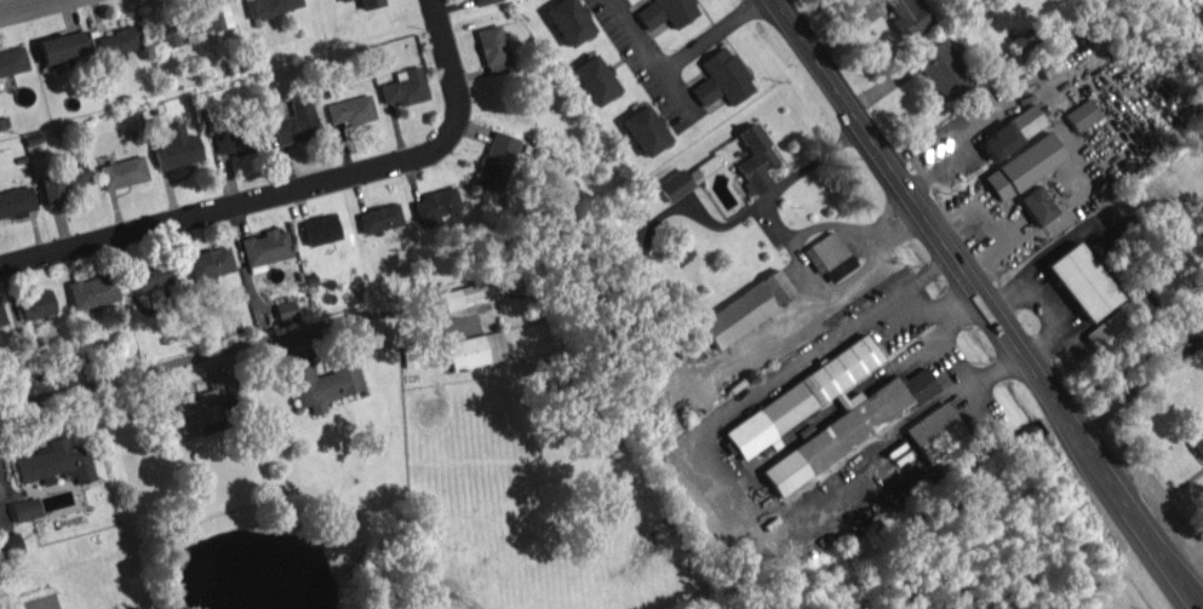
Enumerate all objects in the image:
building: (340, 0)
building: (479, 1)
building: (368, 2)
building: (270, 6)
road: (30, 7)
building: (1202, 11)
building: (666, 12)
building: (909, 17)
building: (568, 21)
building: (194, 24)
road: (631, 34)
building: (1024, 38)
building: (118, 44)
building: (62, 47)
building: (493, 48)
road: (684, 48)
building: (12, 61)
building: (1003, 63)
building: (1048, 65)
building: (944, 69)
building: (727, 74)
building: (592, 79)
building: (405, 86)
building: (704, 91)
building: (351, 109)
building: (1082, 114)
building: (296, 122)
building: (645, 130)
building: (1012, 131)
road: (963, 133)
road: (926, 139)
building: (239, 140)
building: (176, 146)
building: (754, 160)
building: (495, 161)
building: (1022, 166)
building: (703, 168)
building: (122, 172)
building: (63, 183)
building: (674, 184)
road: (296, 190)
building: (17, 201)
building: (1036, 205)
building: (435, 206)
road: (917, 207)
building: (379, 217)
road: (996, 222)
building: (320, 229)
building: (265, 246)
building: (676, 251)
building: (829, 255)
building: (210, 262)
road: (930, 268)
building: (151, 275)
building: (1082, 281)
building: (92, 289)
building: (466, 294)
building: (35, 304)
building: (286, 309)
building: (745, 309)
road: (876, 309)
road: (939, 311)
building: (1, 315)
building: (1109, 331)
road: (936, 333)
road: (225, 349)
building: (475, 349)
building: (323, 381)
building: (223, 383)
building: (920, 384)
road: (1140, 389)
building: (197, 412)
building: (763, 420)
building: (935, 432)
building: (1197, 443)
building: (55, 461)
building: (24, 509)
road: (1130, 511)
road: (767, 521)
building: (10, 547)

